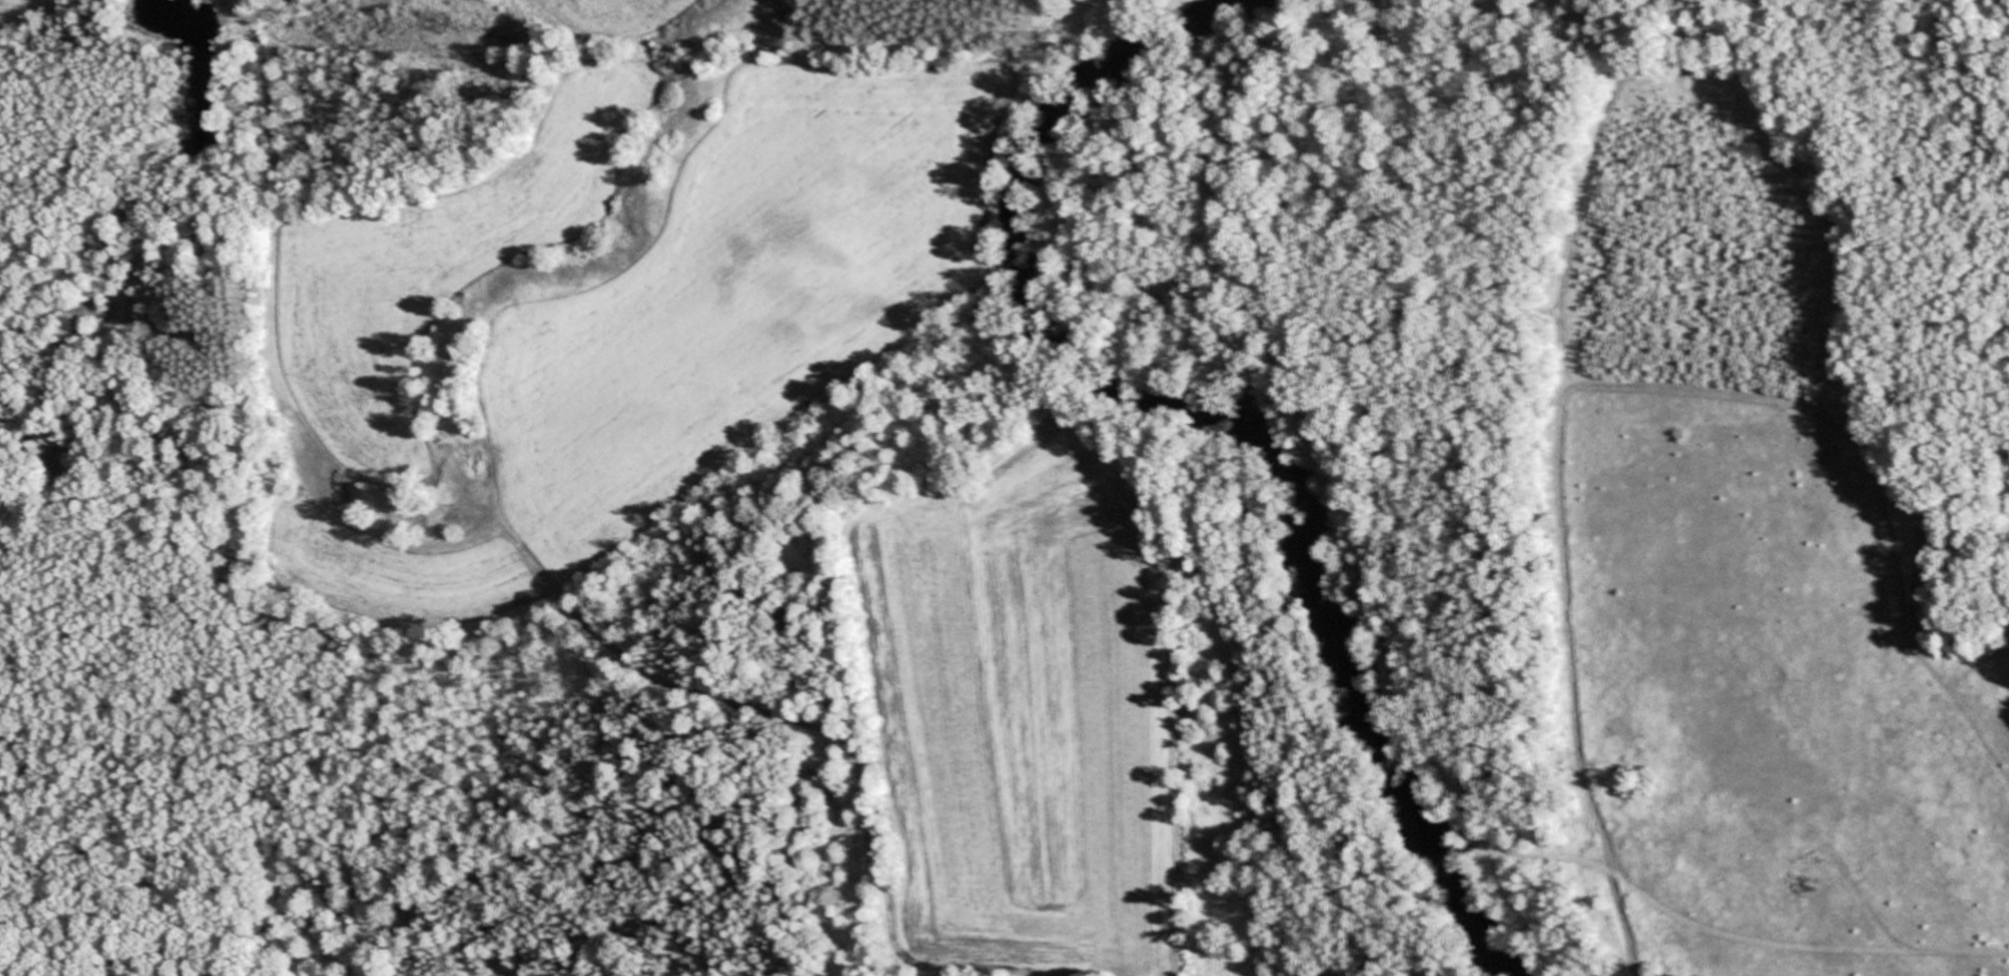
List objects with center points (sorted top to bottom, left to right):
river: (1230, 430)
road: (725, 708)

